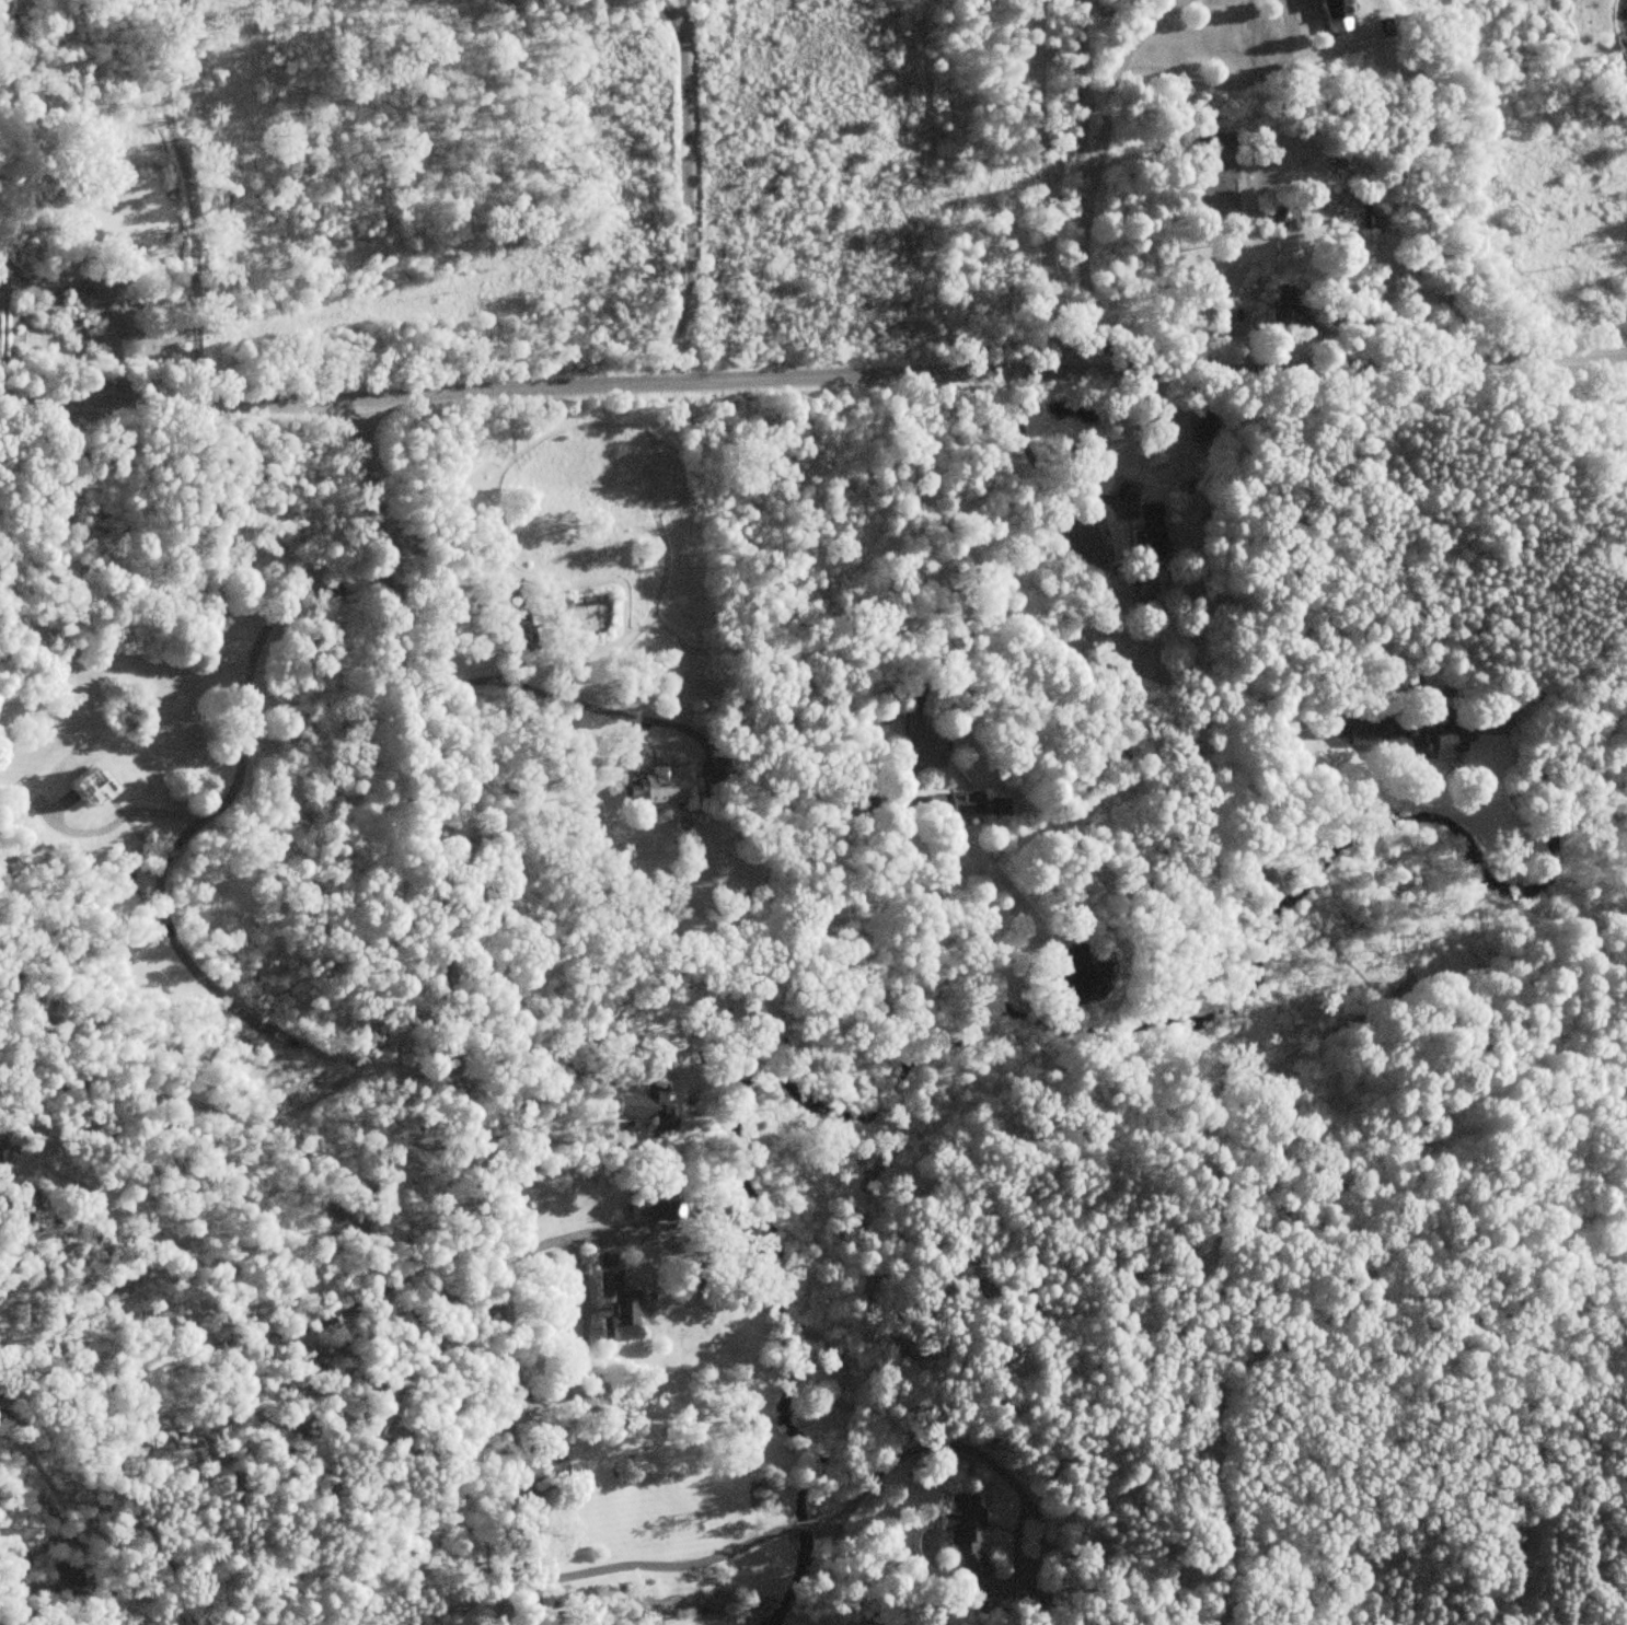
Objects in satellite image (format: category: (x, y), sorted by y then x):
building: (1334, 15)
road: (1195, 78)
building: (1218, 161)
road: (1048, 184)
road: (686, 188)
road: (169, 200)
road: (1087, 213)
building: (1283, 311)
road: (812, 378)
building: (1203, 428)
road: (1031, 456)
building: (1150, 532)
road: (973, 557)
road: (1320, 596)
building: (510, 642)
road: (563, 696)
building: (1401, 735)
building: (85, 785)
building: (666, 786)
building: (865, 804)
building: (966, 805)
road: (161, 866)
road: (449, 1011)
road: (542, 1084)
road: (174, 1100)
building: (645, 1106)
building: (647, 1205)
road: (586, 1307)
building: (615, 1308)
road: (250, 1337)
road: (980, 1451)
road: (806, 1524)
building: (962, 1535)
road: (648, 1566)
road: (453, 1607)
road: (586, 1624)

